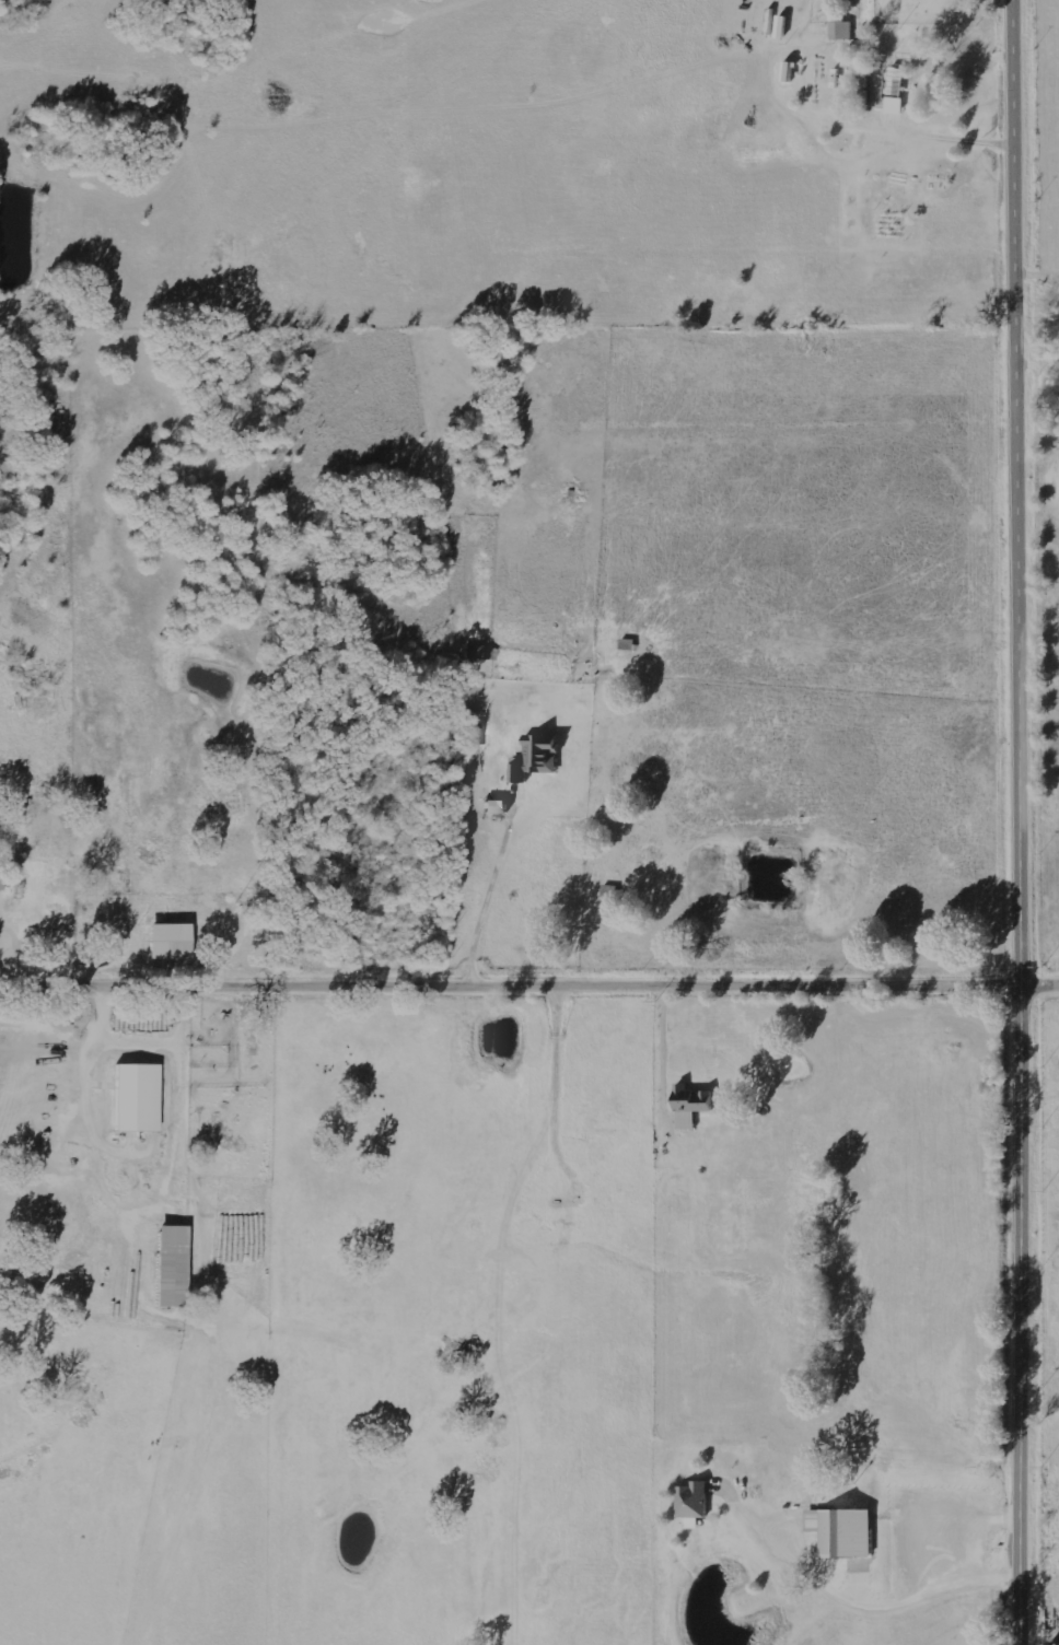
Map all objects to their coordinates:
building: (842, 30)
building: (895, 92)
road: (63, 574)
building: (474, 738)
building: (539, 758)
road: (1022, 822)
road: (42, 868)
building: (1, 876)
building: (171, 941)
road: (528, 990)
building: (138, 1098)
building: (694, 1106)
building: (173, 1267)
building: (695, 1504)
building: (845, 1532)

